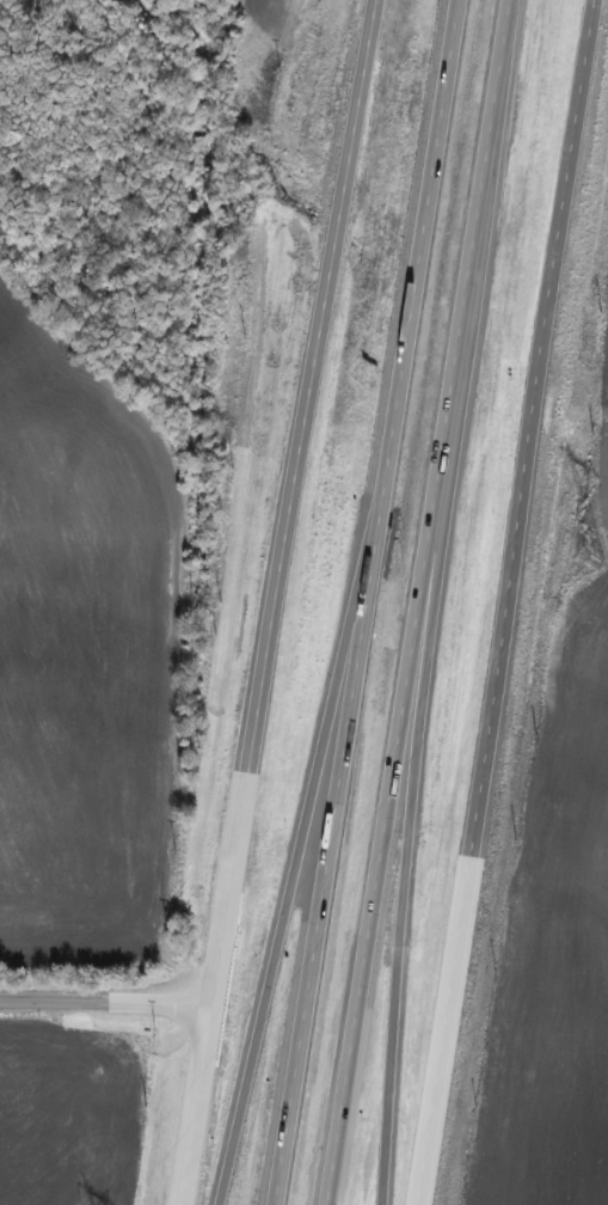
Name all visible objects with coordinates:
road: (282, 601)
road: (364, 601)
road: (413, 601)
road: (490, 602)
power tower: (540, 629)
road: (381, 967)
road: (271, 989)
road: (112, 1001)

